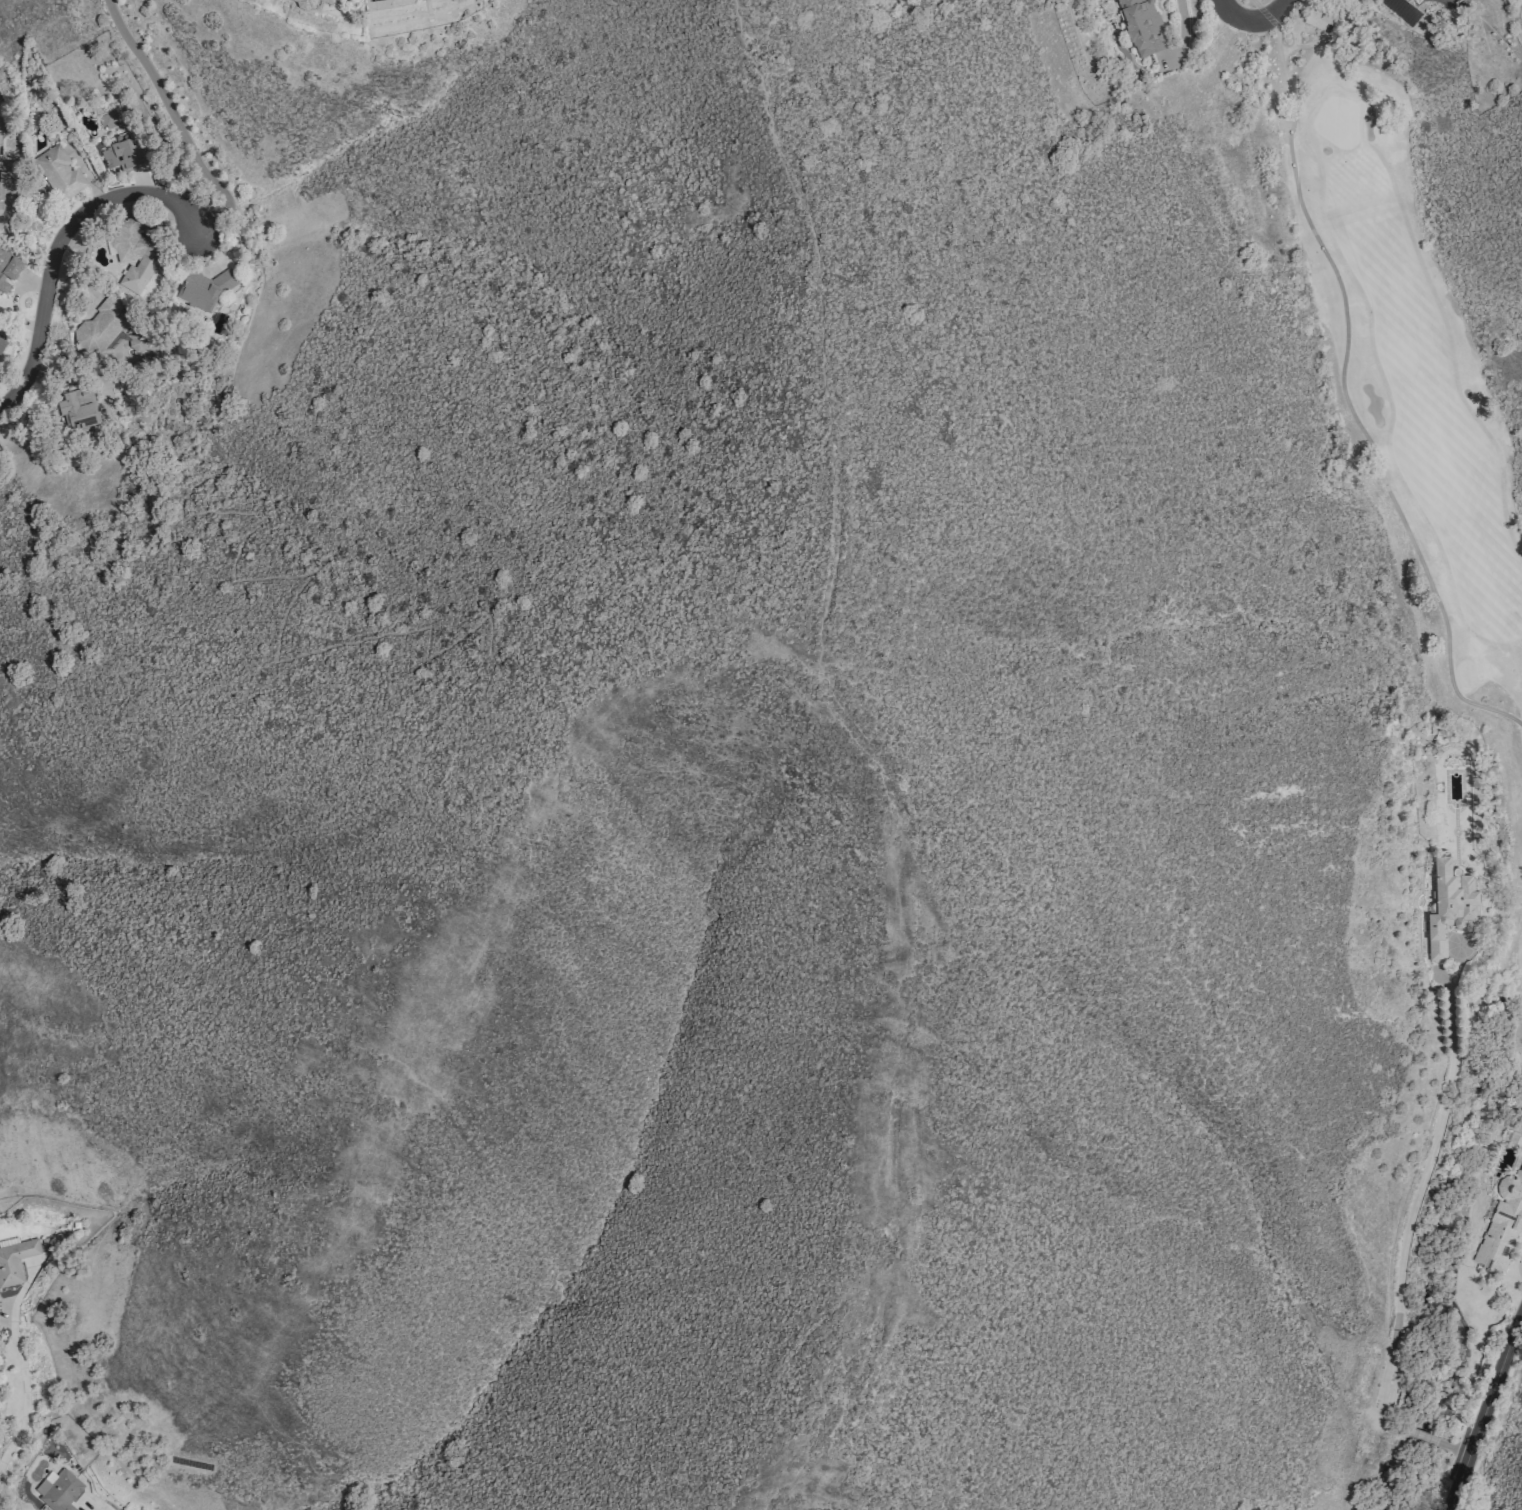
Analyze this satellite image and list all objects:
building: (1156, 0)
building: (328, 1)
building: (303, 4)
road: (1251, 18)
building: (1319, 18)
building: (1142, 26)
building: (107, 120)
road: (177, 122)
building: (122, 155)
building: (59, 172)
building: (6, 193)
road: (58, 241)
building: (135, 255)
building: (8, 269)
building: (204, 289)
building: (109, 328)
building: (2, 343)
park: (1408, 360)
road: (1340, 384)
building: (76, 408)
building: (1448, 905)
building: (1501, 1223)
road: (1404, 1244)
building: (15, 1260)
road: (23, 1378)
road: (1483, 1412)
building: (58, 1490)

